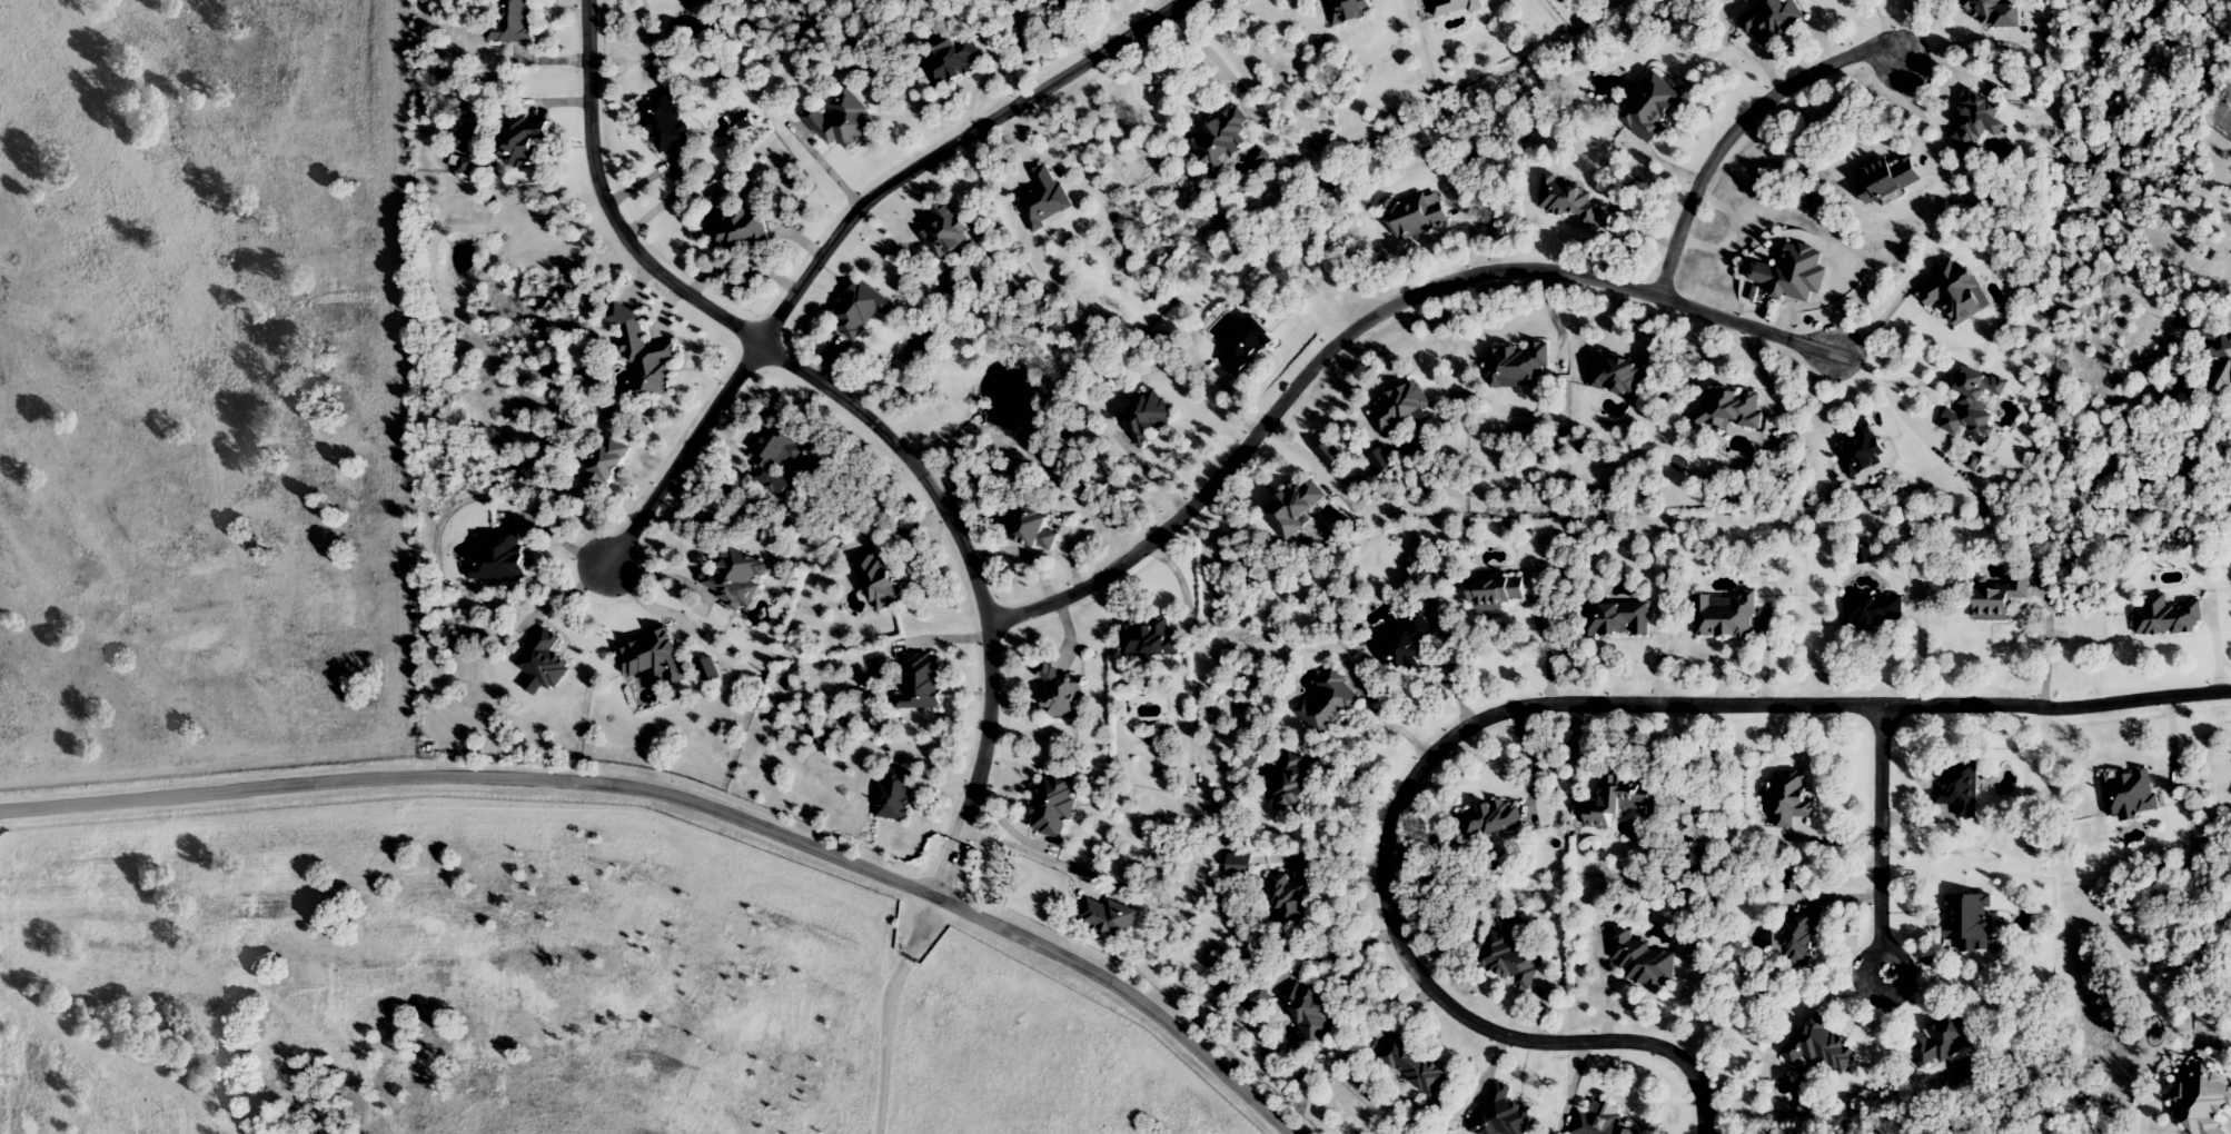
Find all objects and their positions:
building: (1070, 1)
building: (1456, 6)
building: (1351, 10)
building: (1775, 21)
building: (515, 23)
road: (1947, 28)
road: (1216, 54)
building: (952, 64)
building: (1653, 109)
road: (1915, 110)
building: (1979, 120)
building: (844, 122)
building: (667, 123)
road: (1736, 128)
building: (527, 140)
building: (1226, 140)
road: (951, 146)
road: (831, 167)
building: (1891, 179)
building: (1045, 199)
building: (1569, 201)
building: (1418, 216)
building: (743, 232)
building: (949, 233)
building: (1795, 276)
building: (1959, 294)
building: (862, 309)
road: (1884, 316)
road: (1368, 322)
building: (1248, 348)
building: (650, 362)
building: (1518, 367)
building: (2223, 371)
building: (1619, 375)
road: (1892, 396)
building: (1402, 408)
building: (1732, 409)
road: (859, 412)
building: (1148, 419)
building: (1864, 451)
road: (684, 460)
building: (776, 460)
building: (607, 467)
building: (1296, 508)
building: (1033, 529)
building: (502, 558)
building: (736, 579)
building: (881, 580)
road: (1183, 583)
building: (1496, 593)
building: (1997, 604)
building: (1873, 613)
building: (1725, 616)
building: (2169, 618)
building: (1619, 620)
building: (1149, 641)
road: (1549, 641)
road: (2050, 641)
building: (1406, 647)
building: (656, 659)
building: (546, 663)
building: (923, 684)
building: (1063, 696)
building: (1330, 704)
road: (1520, 705)
road: (1531, 760)
building: (1296, 787)
building: (1963, 790)
building: (2131, 793)
building: (896, 796)
building: (1793, 797)
road: (690, 800)
building: (1622, 805)
building: (1057, 806)
building: (1490, 820)
road: (1886, 844)
road: (1031, 854)
building: (1242, 865)
building: (1291, 904)
building: (1109, 918)
building: (1971, 924)
building: (1799, 941)
building: (1511, 961)
building: (1643, 961)
building: (1257, 998)
road: (890, 1011)
building: (1310, 1013)
building: (1949, 1042)
building: (1824, 1047)
building: (1417, 1067)
building: (2207, 1102)
building: (1504, 1115)

